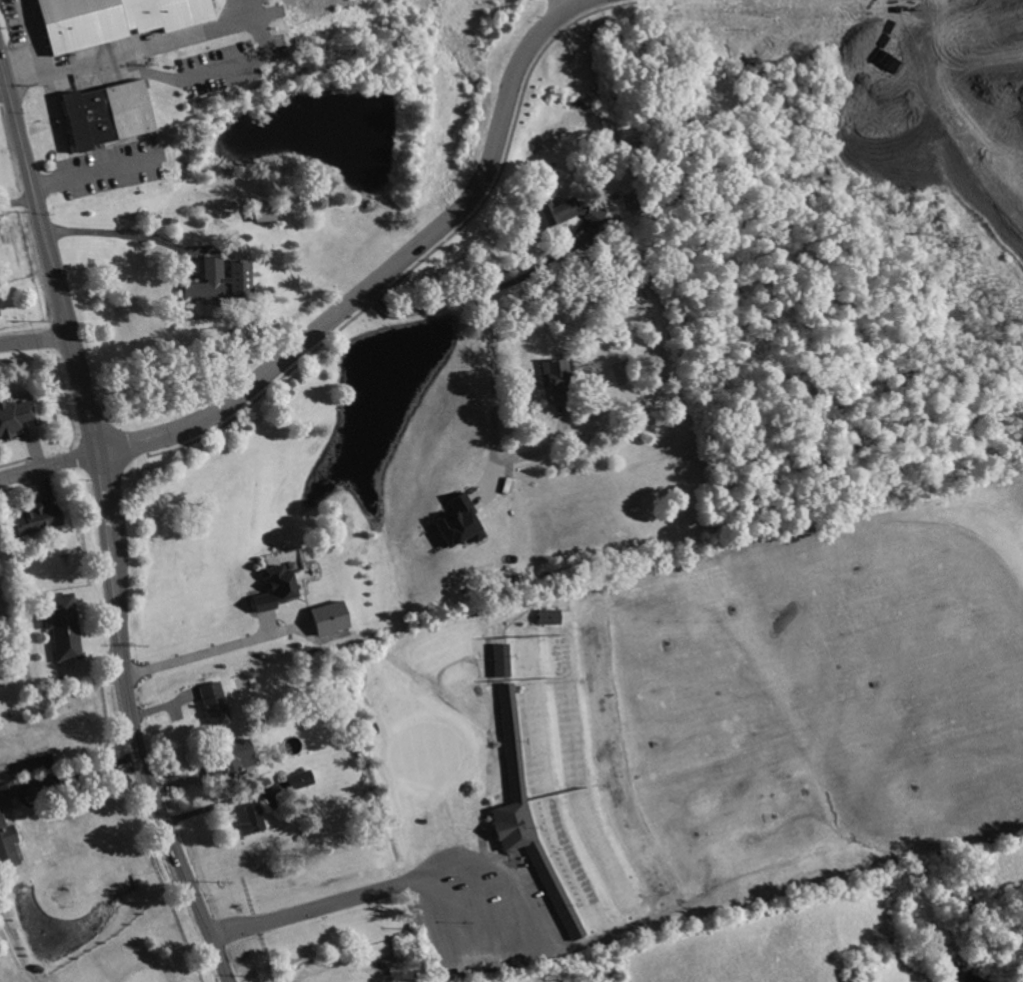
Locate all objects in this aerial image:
road: (556, 6)
road: (1018, 13)
road: (995, 17)
building: (106, 21)
road: (32, 35)
road: (132, 47)
road: (971, 96)
building: (103, 119)
road: (94, 171)
building: (266, 209)
building: (571, 211)
road: (130, 229)
road: (544, 266)
road: (387, 273)
building: (222, 281)
building: (0, 311)
road: (35, 341)
road: (495, 357)
building: (560, 377)
building: (15, 416)
road: (48, 467)
building: (39, 516)
road: (106, 520)
building: (458, 521)
building: (275, 585)
building: (547, 616)
building: (331, 617)
building: (63, 625)
road: (1, 642)
park: (10, 647)
road: (218, 650)
building: (499, 659)
building: (215, 700)
park: (713, 724)
building: (231, 750)
park: (427, 752)
road: (86, 772)
building: (304, 778)
road: (228, 801)
building: (528, 816)
building: (252, 817)
building: (9, 830)
road: (486, 861)
road: (484, 909)
park: (108, 921)
road: (19, 949)
park: (142, 976)

